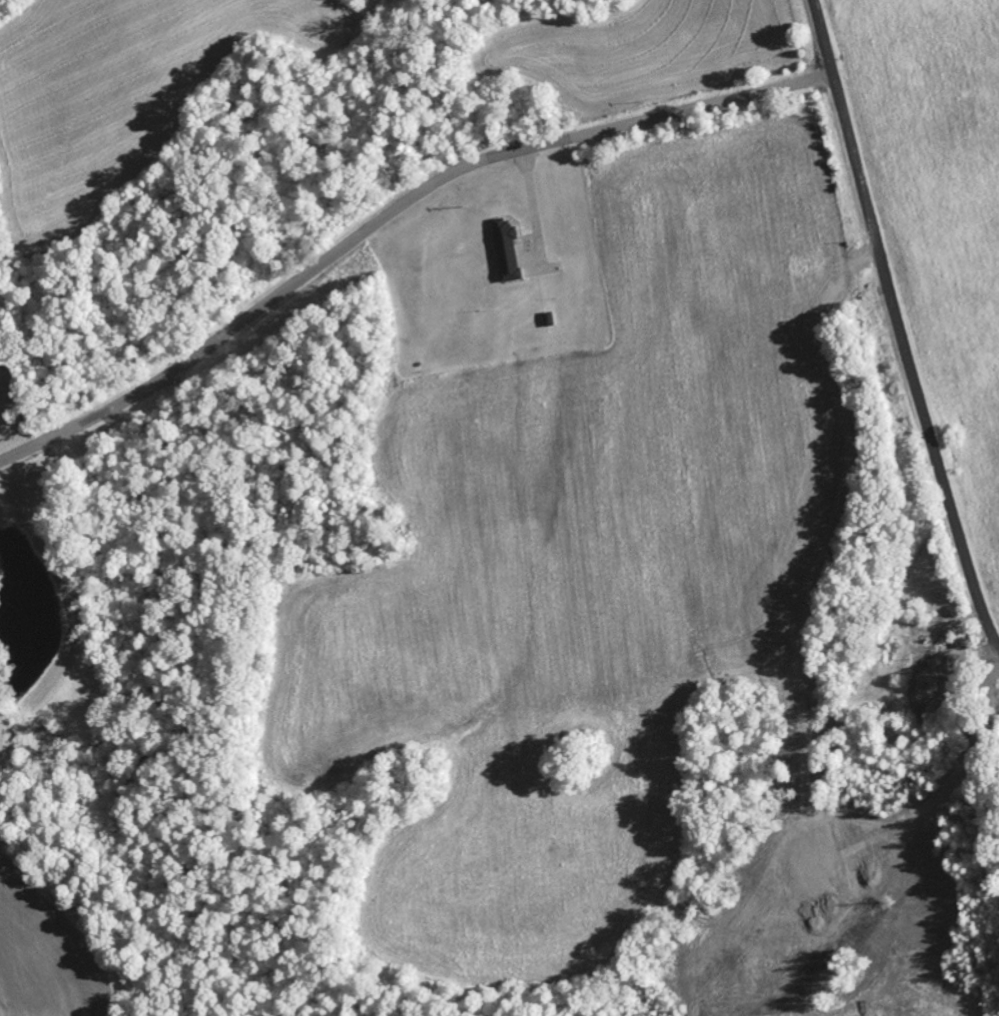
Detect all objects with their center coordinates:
road: (391, 210)
building: (511, 249)
road: (900, 326)
building: (961, 637)
building: (928, 671)

